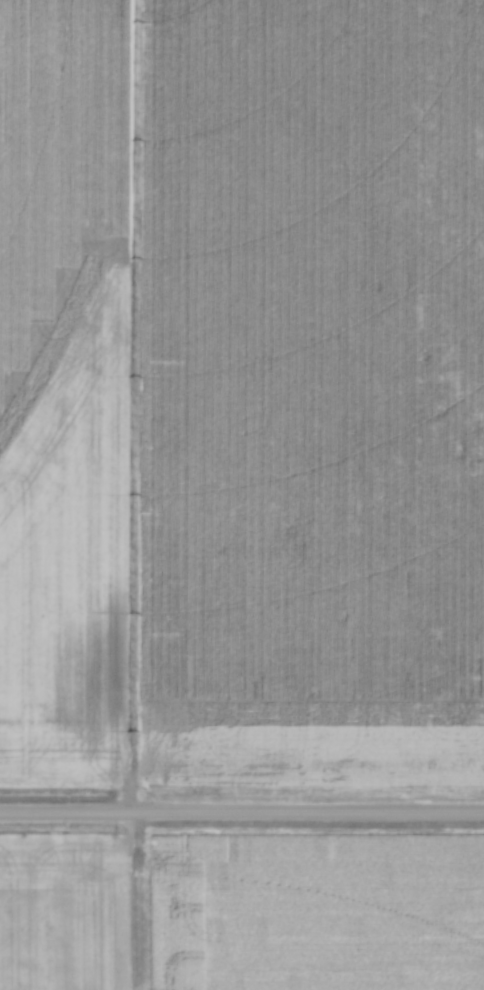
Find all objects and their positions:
road: (242, 817)

